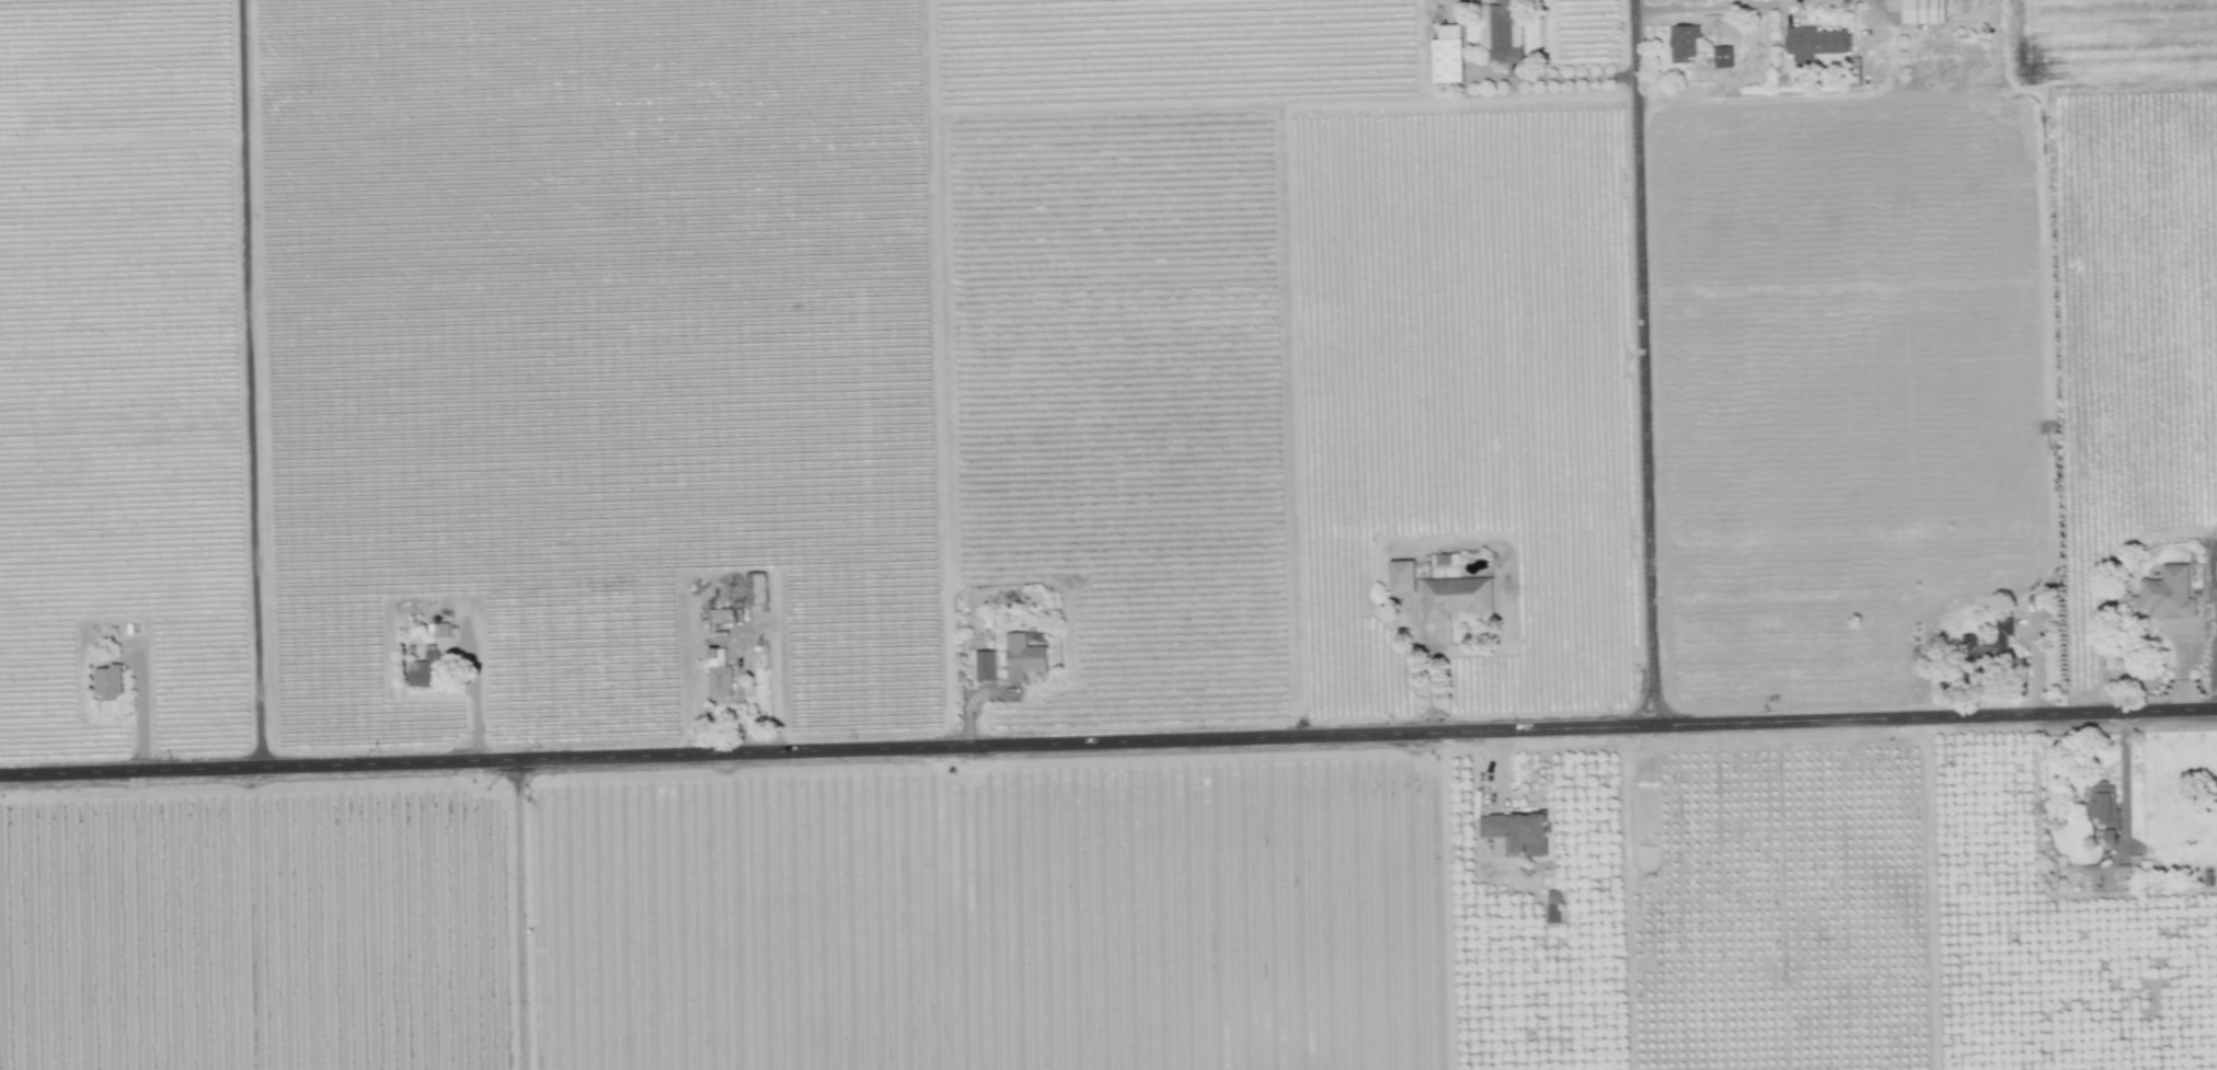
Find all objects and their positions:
road: (1711, 5)
building: (1923, 11)
building: (1484, 25)
building: (1503, 31)
building: (1682, 42)
building: (1814, 42)
building: (1447, 54)
building: (1722, 56)
road: (1567, 78)
road: (1286, 111)
road: (1650, 358)
road: (943, 372)
road: (246, 380)
road: (1295, 423)
building: (1402, 576)
building: (755, 588)
building: (2167, 592)
building: (1455, 596)
building: (440, 629)
building: (1968, 638)
building: (1022, 656)
building: (984, 665)
building: (423, 668)
building: (719, 675)
building: (107, 681)
road: (774, 684)
road: (1108, 740)
road: (2125, 771)
building: (2103, 806)
building: (1517, 831)
building: (2129, 868)
road: (516, 911)

